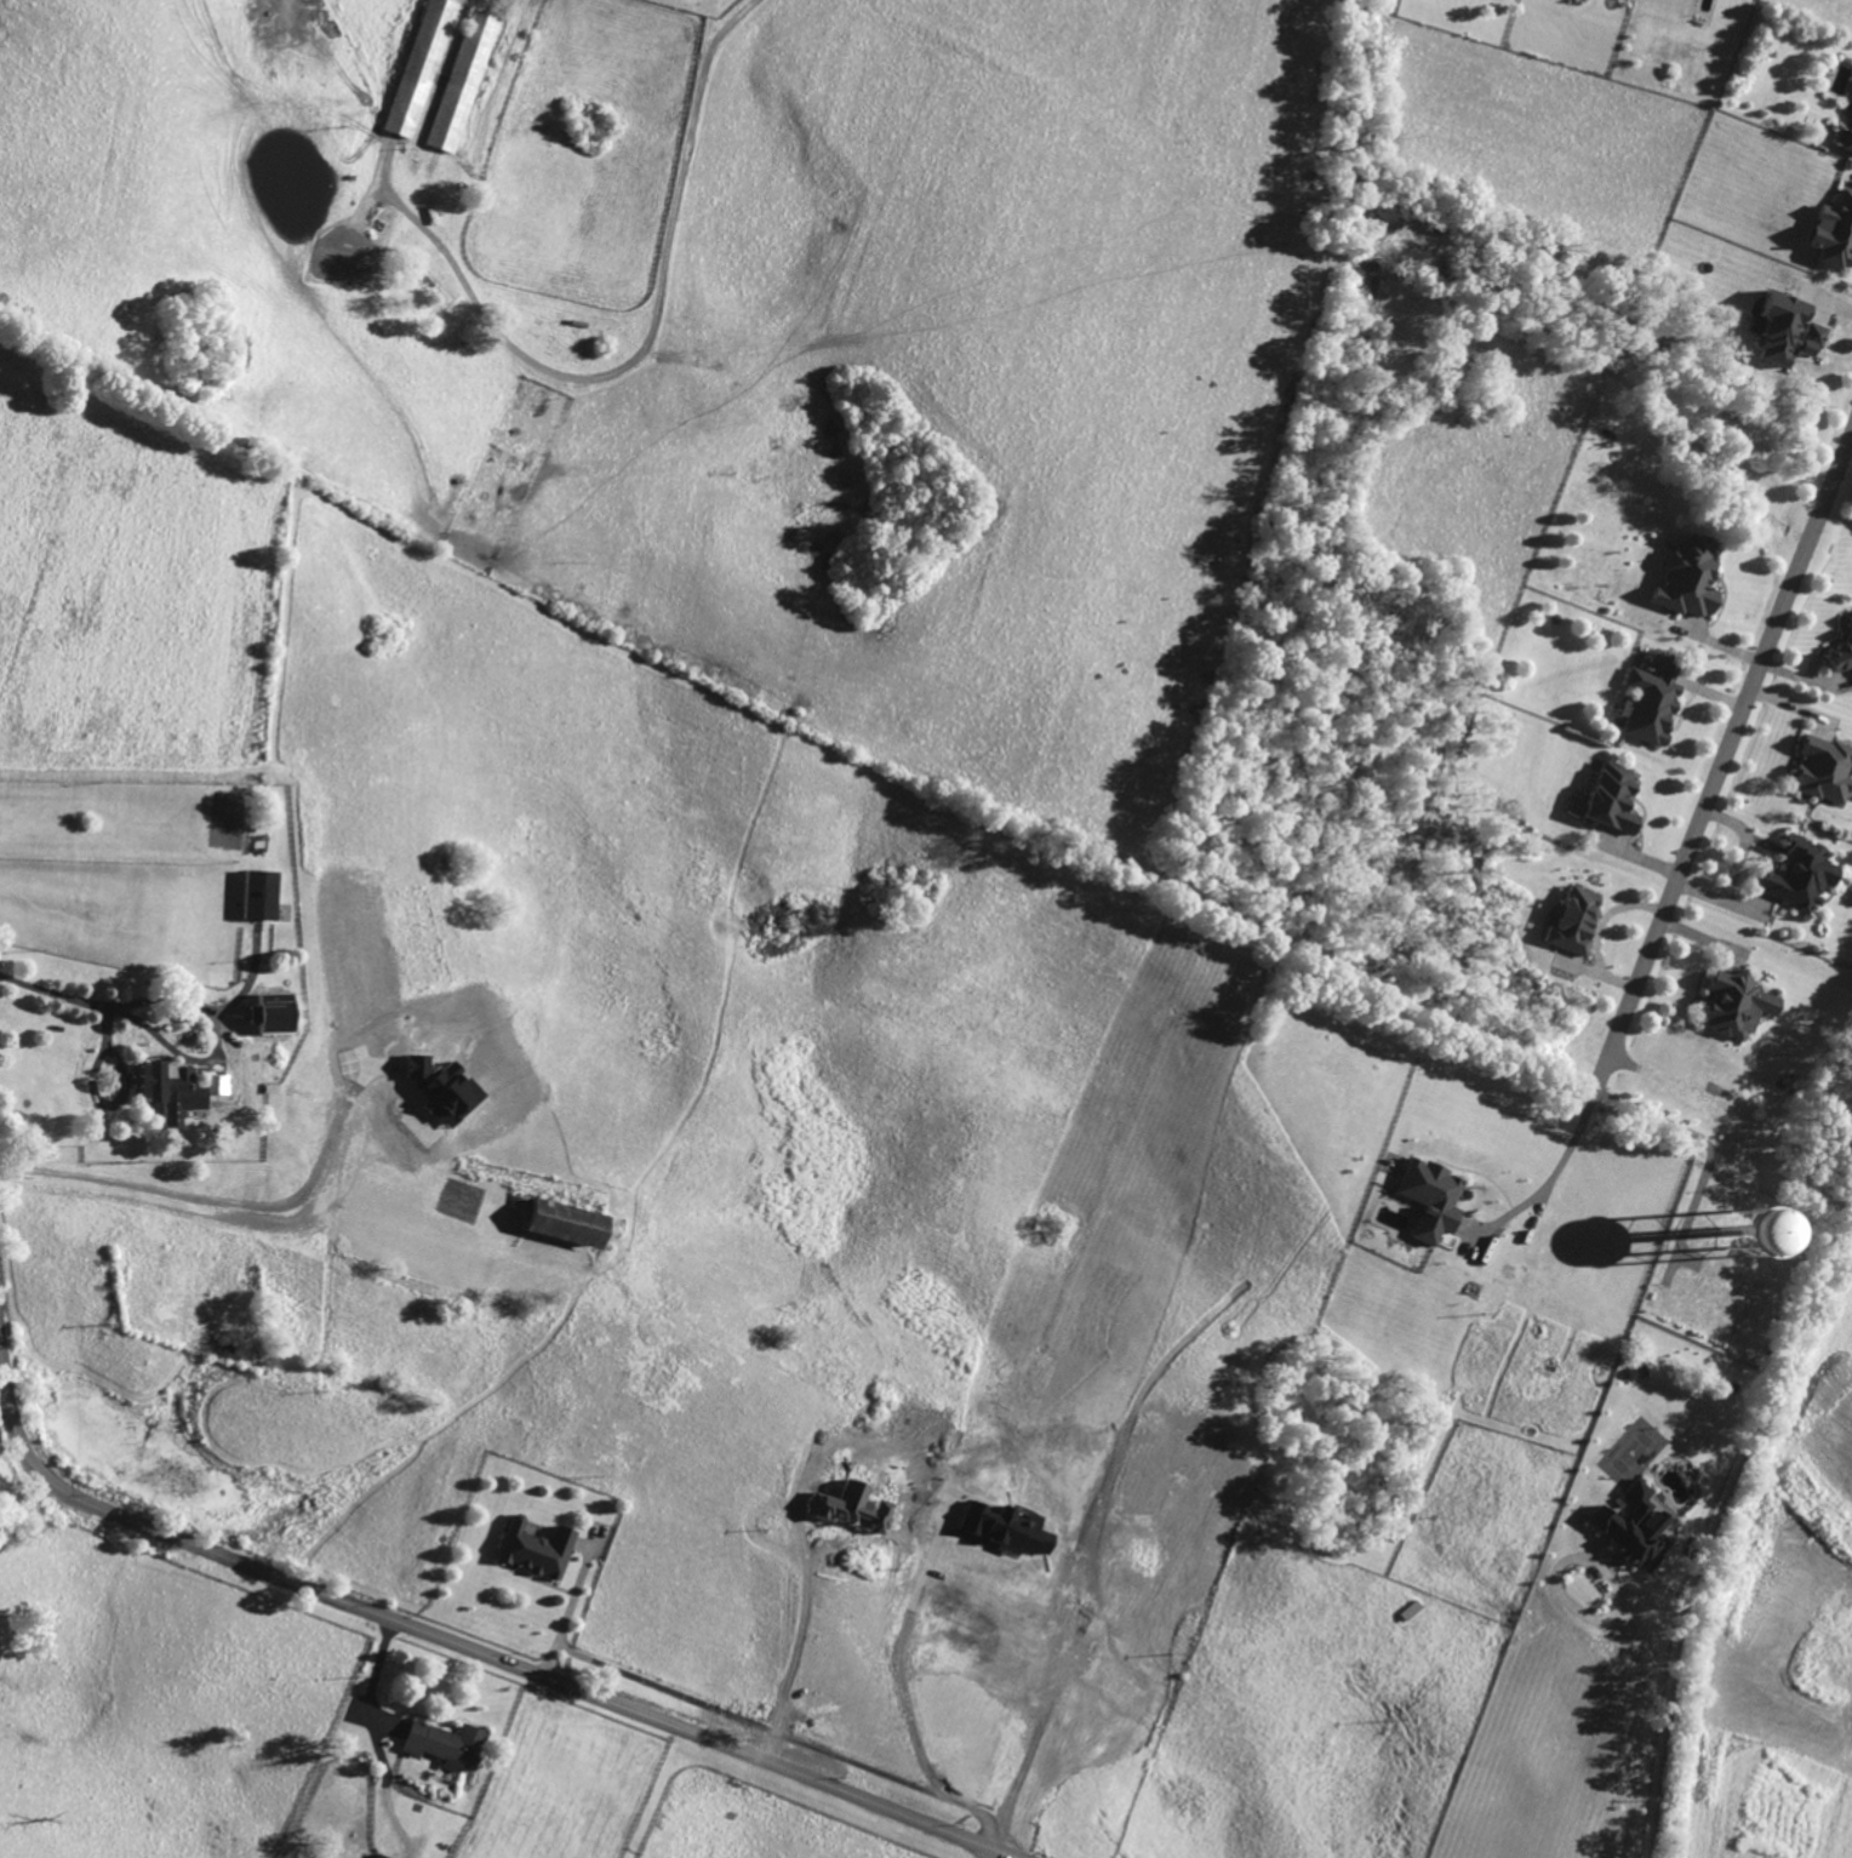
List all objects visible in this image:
building: (1851, 110)
building: (1844, 139)
building: (1834, 231)
park: (343, 262)
building: (1785, 328)
road: (639, 355)
building: (1690, 576)
building: (1841, 658)
road: (1722, 759)
building: (1824, 768)
building: (1612, 799)
road: (1737, 868)
building: (1799, 874)
building: (255, 897)
building: (1572, 920)
road: (84, 999)
building: (1736, 1004)
building: (173, 1090)
building: (441, 1090)
road: (1553, 1170)
road: (216, 1200)
building: (559, 1223)
water tower: (1745, 1236)
road: (24, 1509)
building: (1002, 1528)
building: (533, 1549)
road: (568, 1610)
road: (798, 1637)
road: (462, 1646)
road: (372, 1679)
road: (898, 1690)
road: (1637, 1705)
building: (442, 1745)
road: (998, 1854)
building: (378, 1857)

